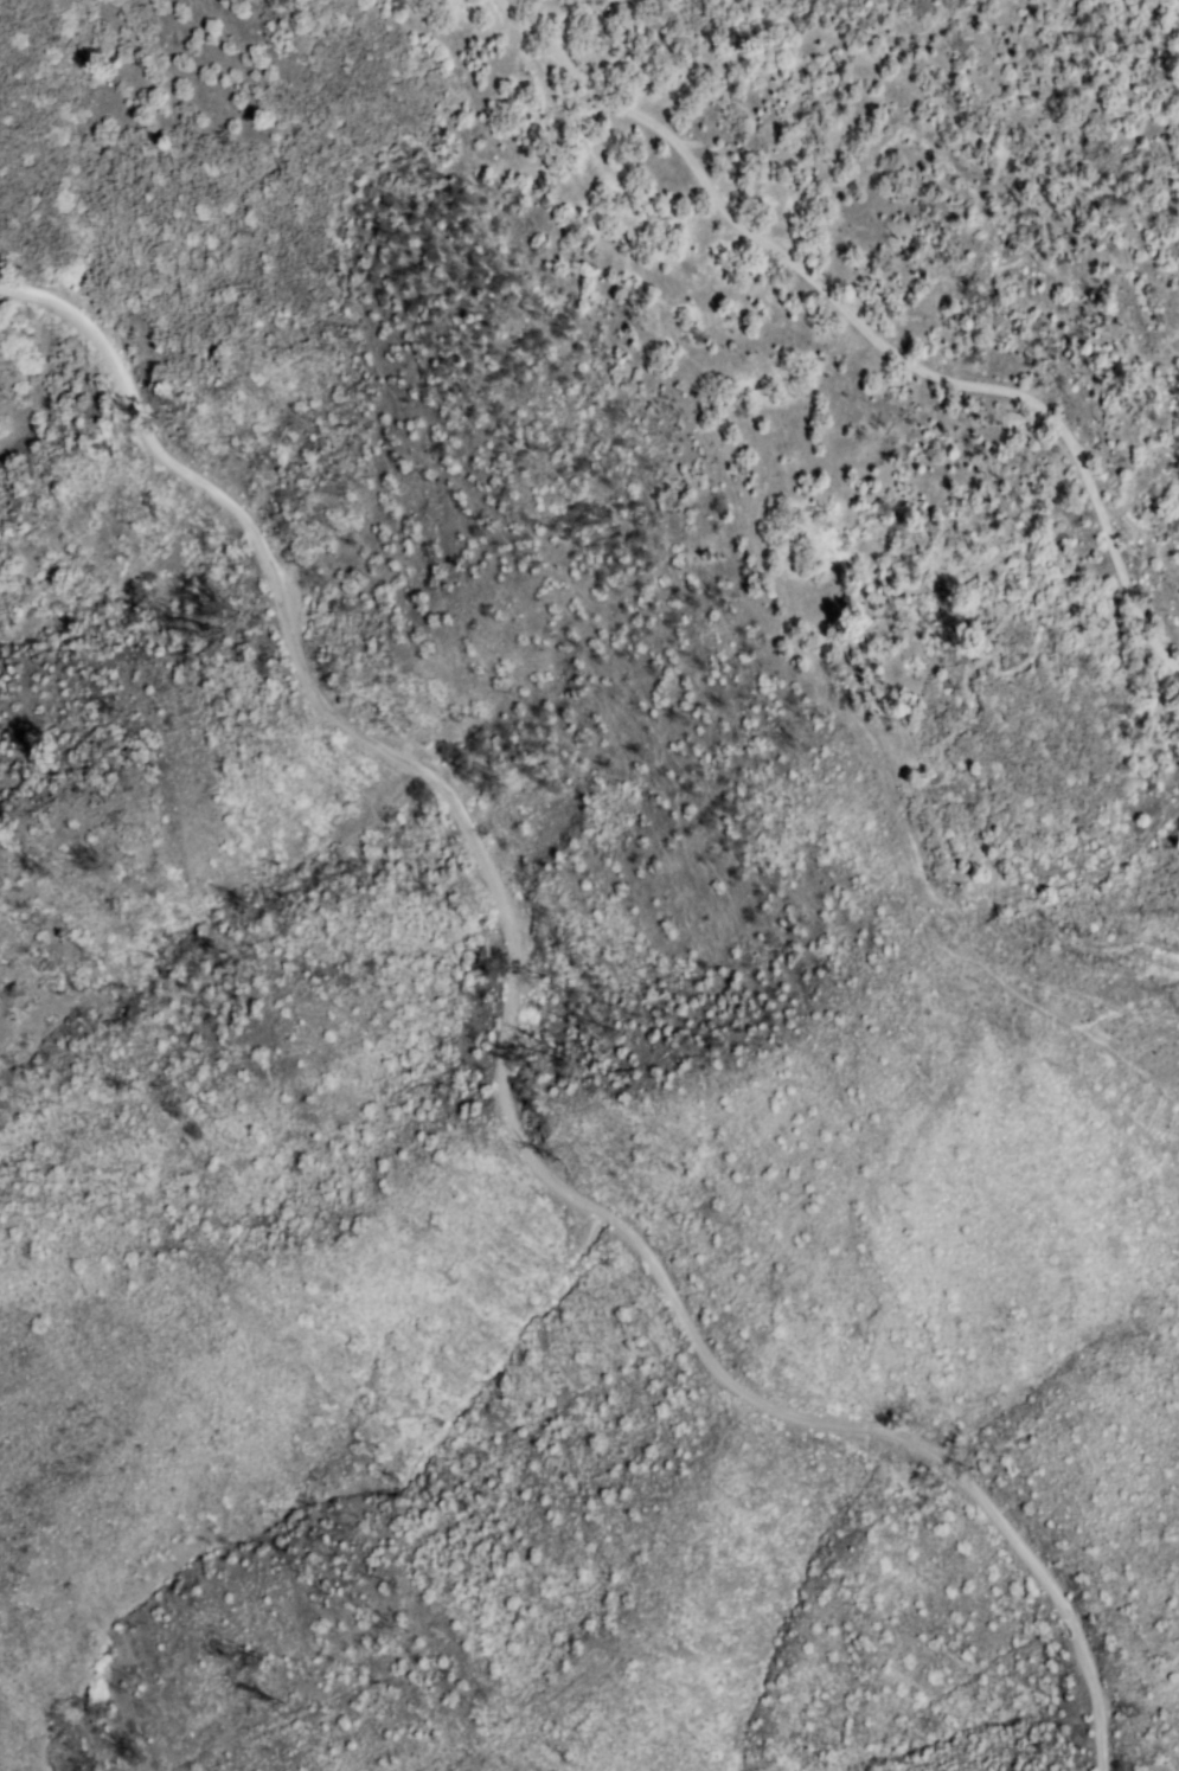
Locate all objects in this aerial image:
road: (872, 326)
road: (505, 1059)

